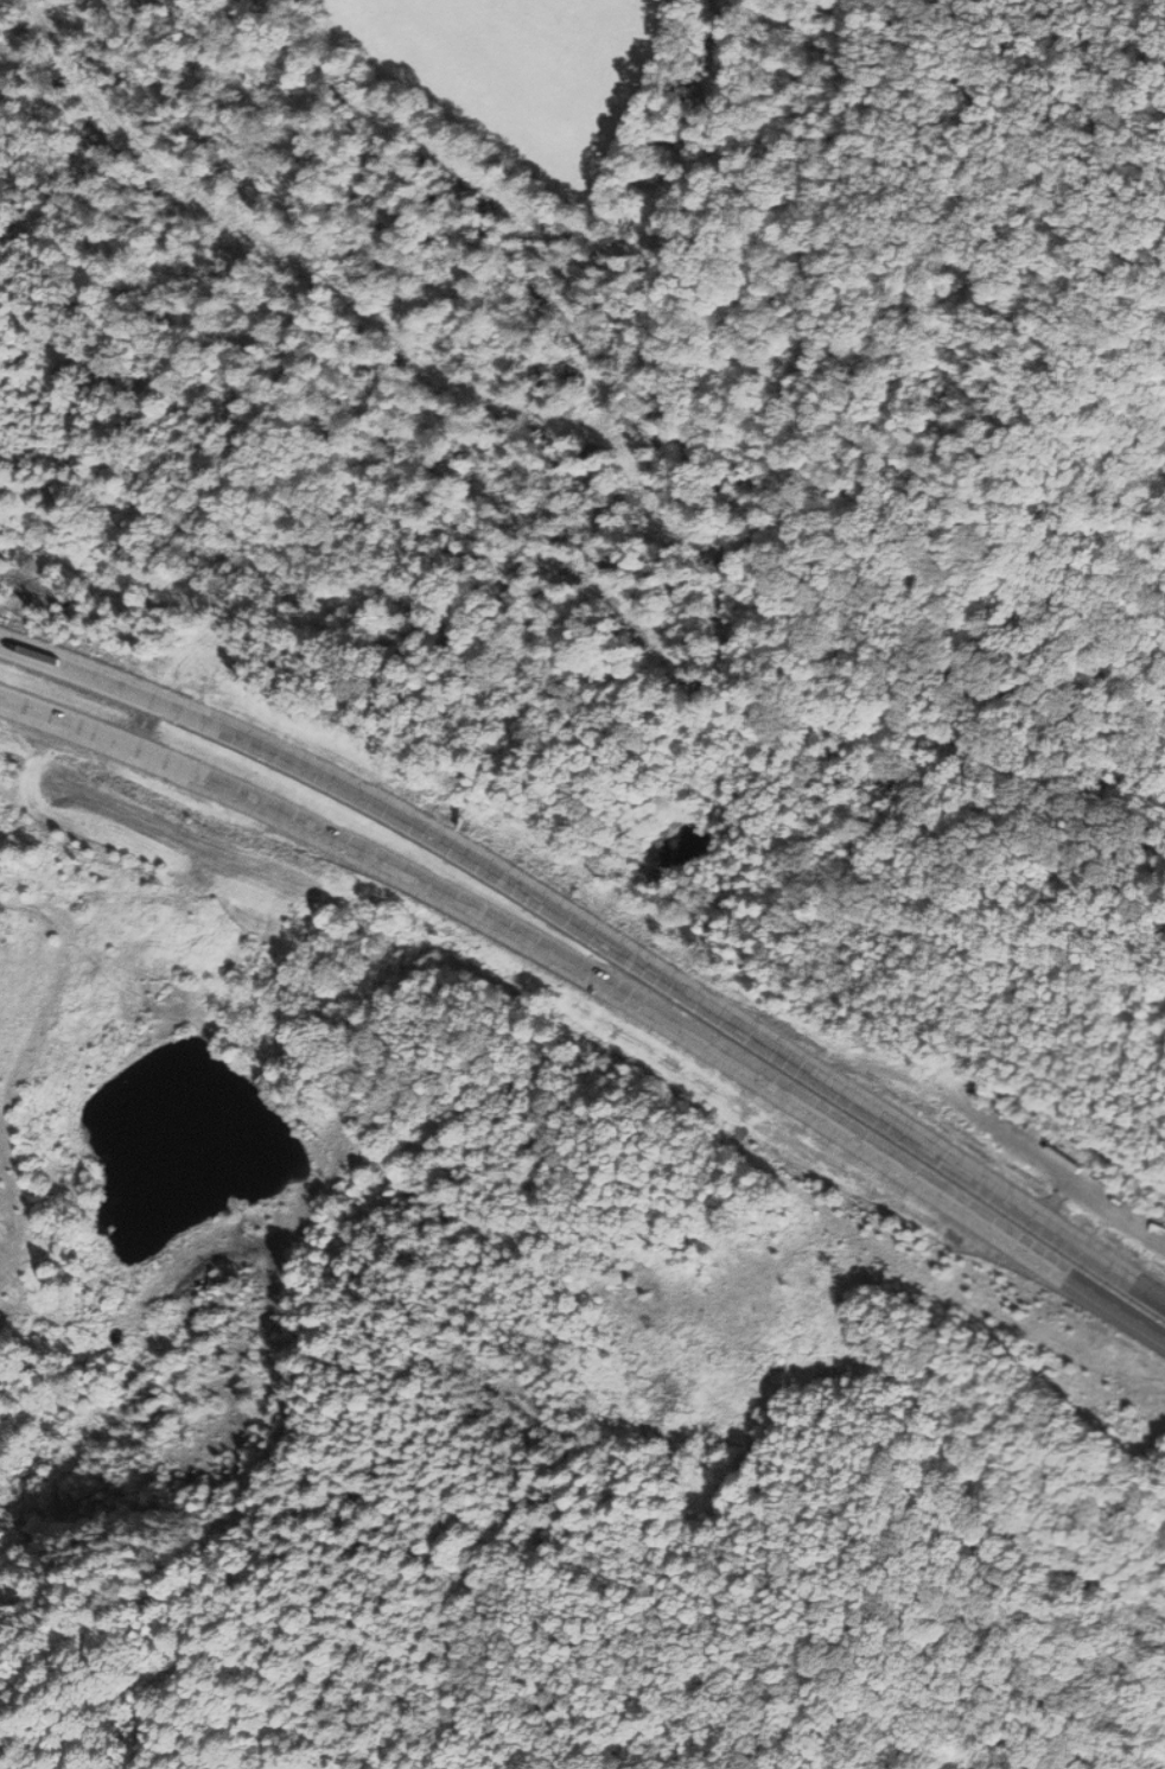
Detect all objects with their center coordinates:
road: (599, 943)
road: (596, 991)

